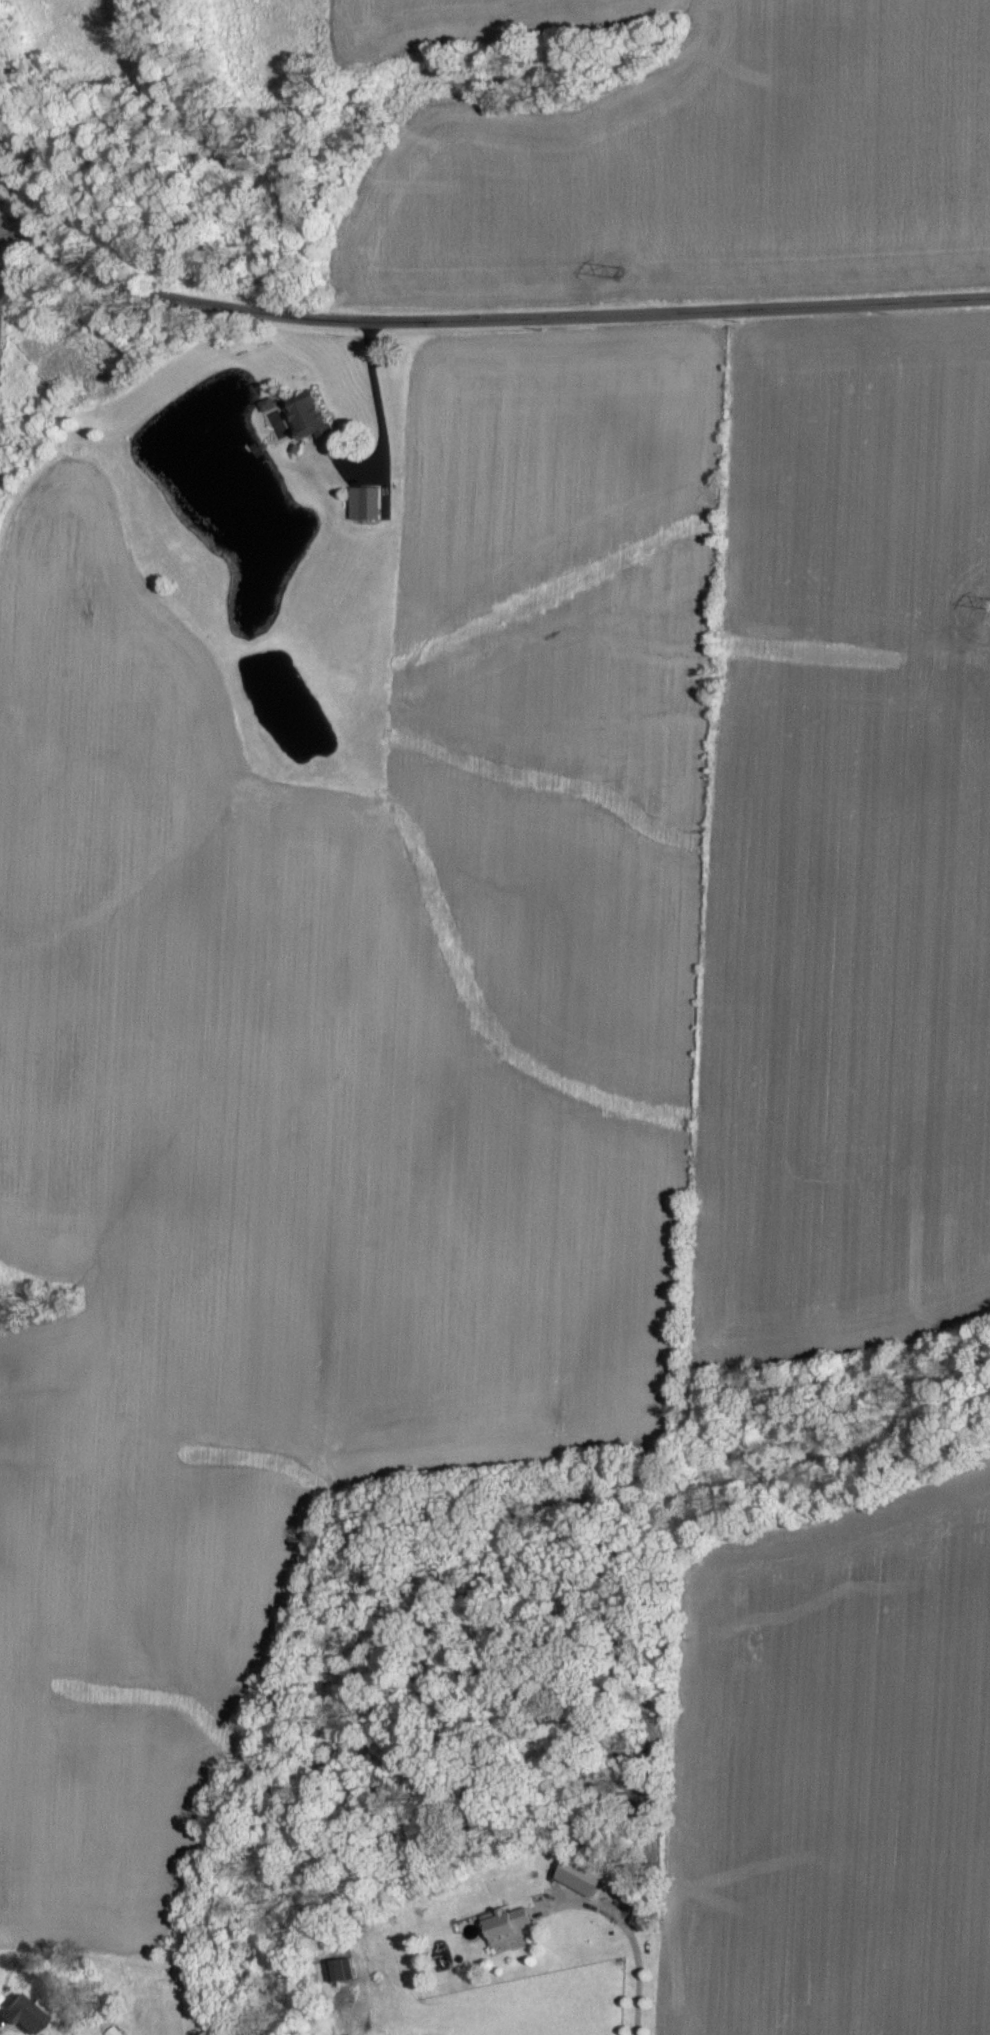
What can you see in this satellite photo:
road: (6, 229)
power tower: (616, 274)
road: (481, 318)
building: (315, 420)
building: (368, 503)
building: (584, 1877)
building: (511, 1927)
road: (634, 1944)
building: (1, 1999)
building: (26, 2015)

